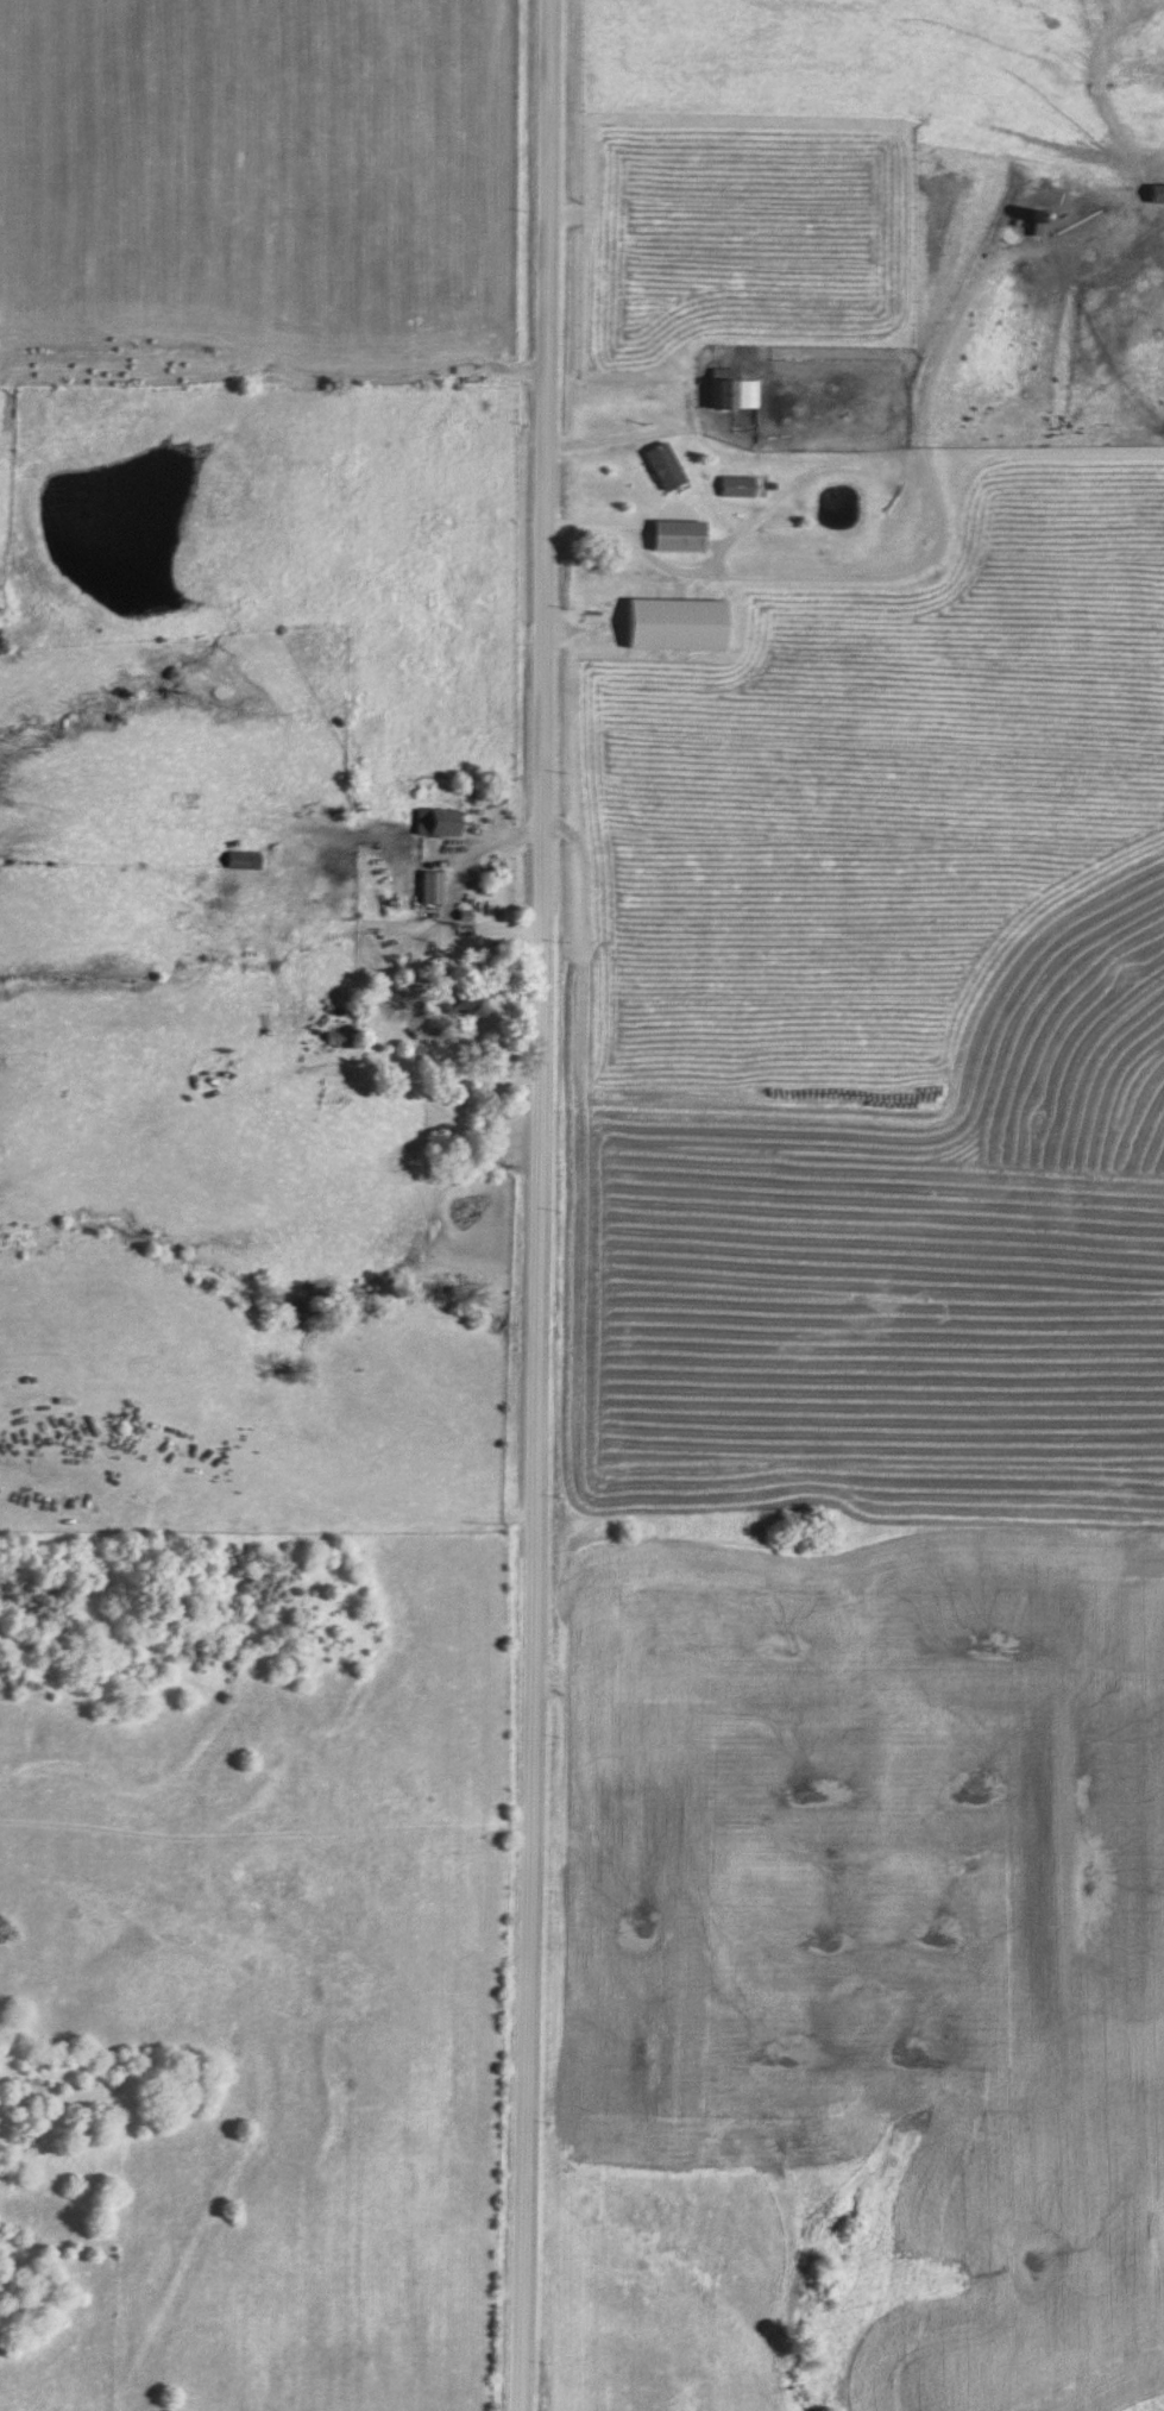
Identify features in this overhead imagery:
road: (530, 1205)

